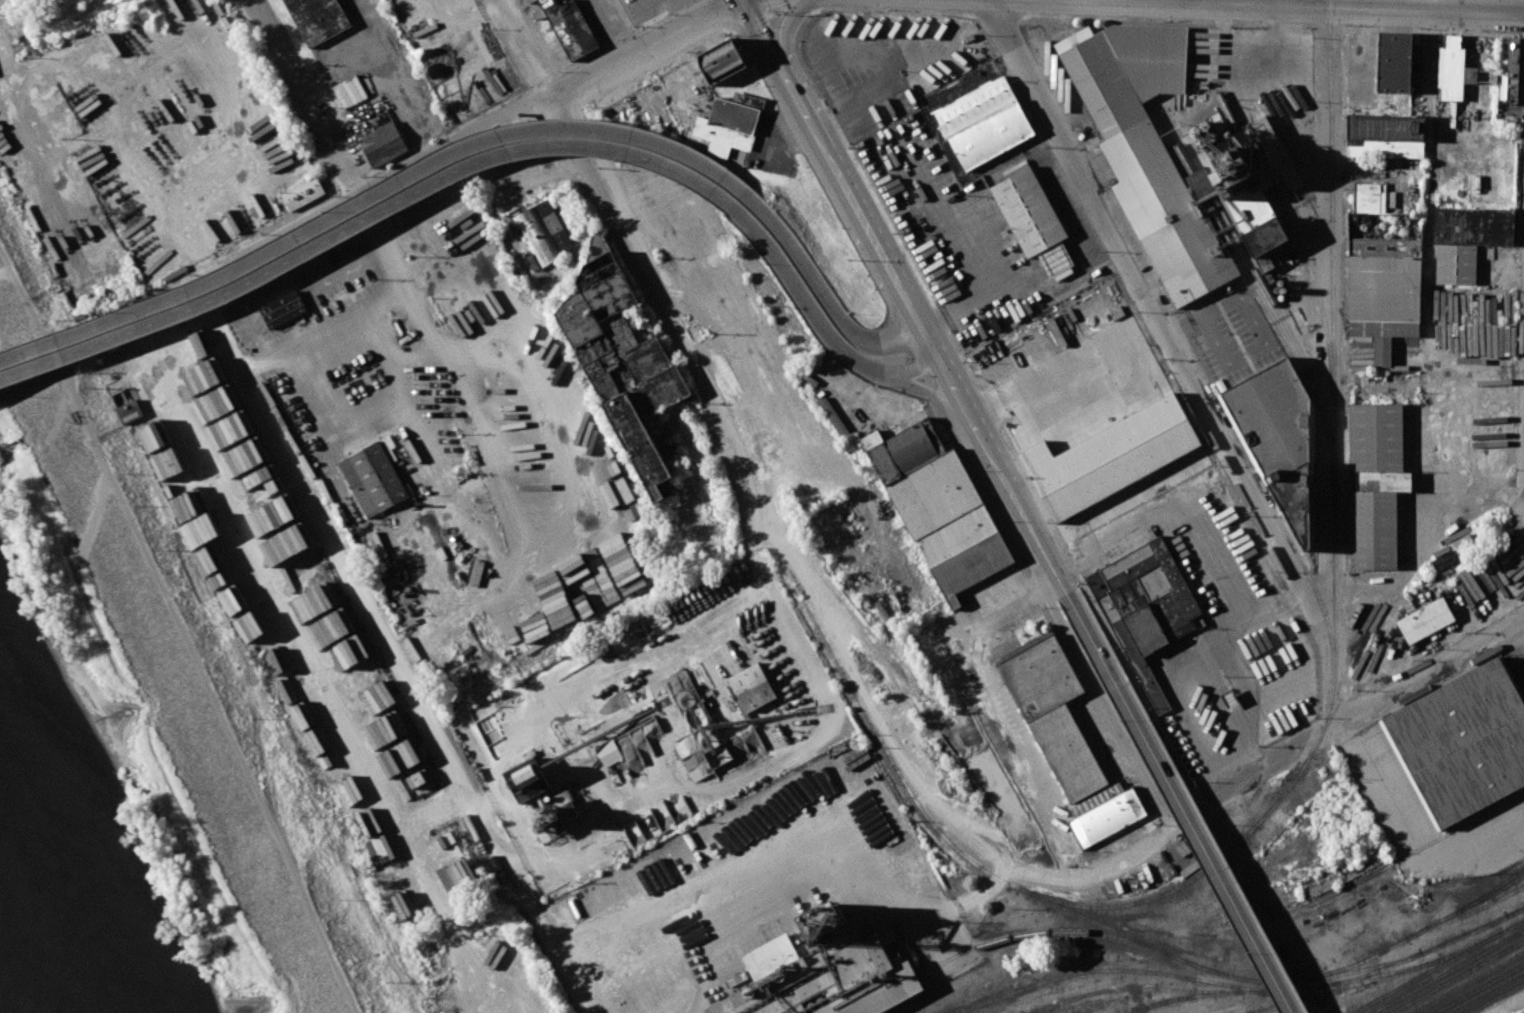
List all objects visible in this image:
road: (1204, 2)
road: (1220, 4)
road: (1316, 4)
road: (1431, 6)
road: (1429, 11)
building: (320, 19)
road: (630, 26)
building: (570, 27)
building: (871, 33)
road: (946, 35)
building: (846, 38)
road: (527, 50)
parking lot: (895, 55)
building: (1511, 59)
building: (722, 60)
road: (941, 62)
building: (1393, 63)
road: (883, 64)
road: (821, 69)
building: (1450, 69)
road: (807, 88)
road: (311, 101)
building: (882, 104)
building: (985, 122)
building: (730, 123)
building: (1384, 138)
building: (384, 143)
building: (1146, 144)
street lamp: (616, 161)
road: (148, 172)
road: (835, 172)
building: (1488, 188)
building: (304, 193)
road: (368, 197)
building: (1366, 197)
road: (374, 198)
building: (1033, 219)
road: (363, 220)
building: (1474, 226)
building: (544, 233)
parking lot: (958, 235)
railway: (1295, 239)
building: (1384, 246)
road: (975, 249)
road: (398, 263)
building: (1455, 263)
street lamp: (766, 265)
railway: (1253, 266)
road: (824, 295)
building: (1383, 295)
road: (385, 301)
railway: (1264, 304)
building: (281, 309)
road: (1181, 322)
railway: (1332, 325)
road: (325, 330)
road: (1338, 331)
road: (941, 333)
road: (1265, 346)
road: (379, 352)
road: (413, 354)
road: (853, 356)
road: (268, 357)
building: (620, 359)
road: (1181, 364)
road: (912, 369)
road: (704, 380)
street lamp: (878, 386)
road: (265, 407)
road: (968, 408)
building: (1271, 417)
road: (414, 418)
building: (1376, 437)
building: (903, 449)
road: (1007, 462)
building: (374, 478)
building: (1383, 481)
building: (933, 493)
road: (1176, 503)
road: (512, 524)
road: (1082, 525)
building: (1373, 530)
building: (957, 534)
building: (391, 550)
railway: (1298, 555)
building: (969, 567)
road: (1061, 581)
road: (1295, 596)
railway: (1394, 604)
building: (1146, 605)
road: (1266, 609)
building: (1426, 620)
road: (191, 623)
road: (1430, 673)
building: (1039, 675)
building: (752, 687)
road: (1099, 689)
road: (1338, 690)
railway: (1329, 703)
road: (996, 712)
road: (423, 718)
street lamp: (1122, 722)
building: (694, 728)
building: (1463, 744)
building: (609, 753)
building: (1073, 759)
road: (1253, 772)
road: (921, 778)
building: (527, 780)
building: (1106, 818)
road: (793, 841)
road: (1206, 851)
road: (1064, 881)
railway: (1189, 881)
railway: (1495, 886)
railway: (1032, 895)
railway: (1304, 905)
railway: (1521, 909)
railway: (1467, 913)
river: (42, 929)
railway: (1415, 933)
railway: (1040, 934)
road: (556, 936)
railway: (1433, 949)
street lamp: (1247, 952)
road: (701, 954)
railway: (1487, 957)
railway: (1437, 966)
railway: (1112, 969)
railway: (1447, 971)
road: (577, 974)
railway: (1394, 975)
railway: (1457, 977)
building: (822, 981)
railway: (1478, 988)
railway: (1274, 991)
railway: (1488, 993)
railway: (1077, 997)
railway: (1184, 997)
railway: (1312, 997)
railway: (1121, 998)
railway: (1096, 1001)
railway: (1302, 1008)

